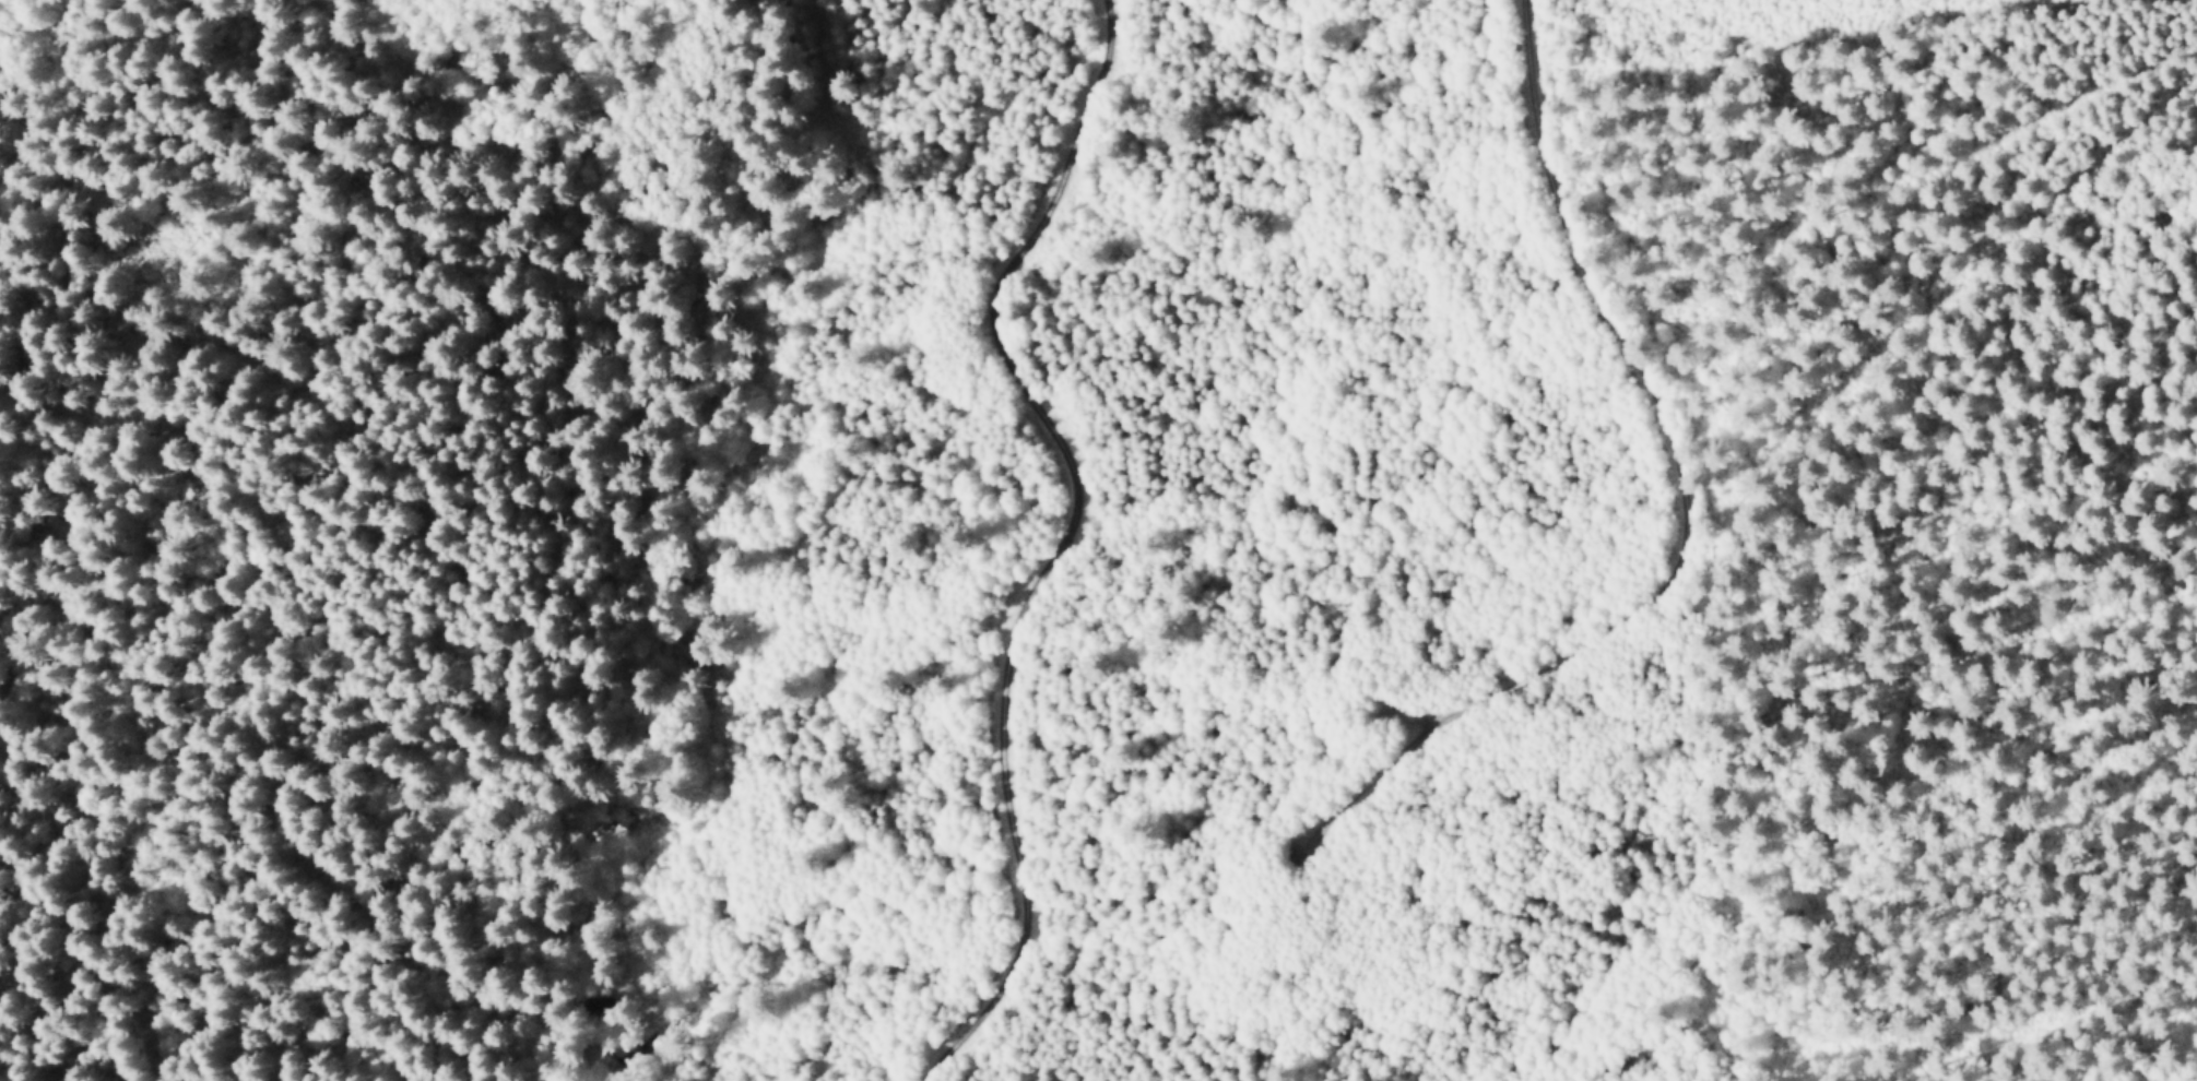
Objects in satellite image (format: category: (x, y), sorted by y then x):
road: (1036, 535)

